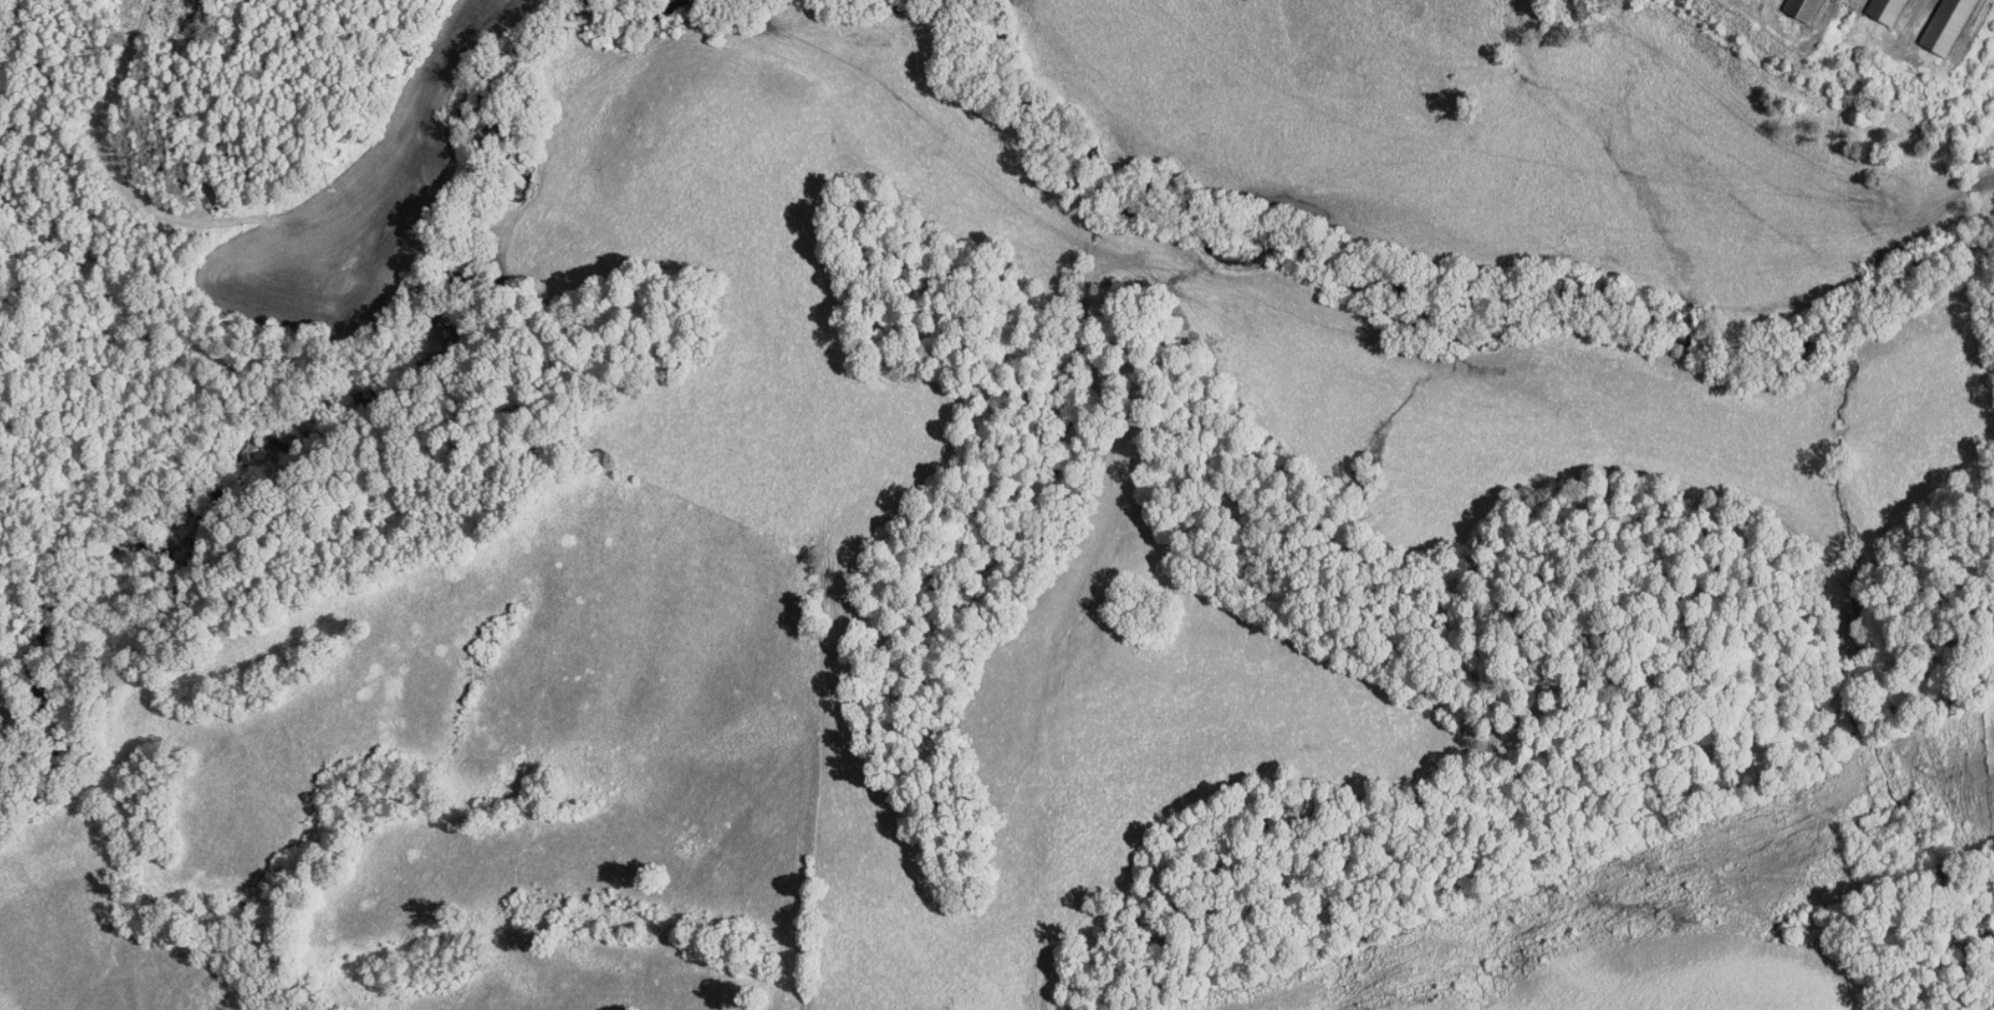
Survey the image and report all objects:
building: (1797, 7)
building: (1878, 8)
building: (1936, 23)
power tower: (1653, 868)
power tower: (1679, 914)

